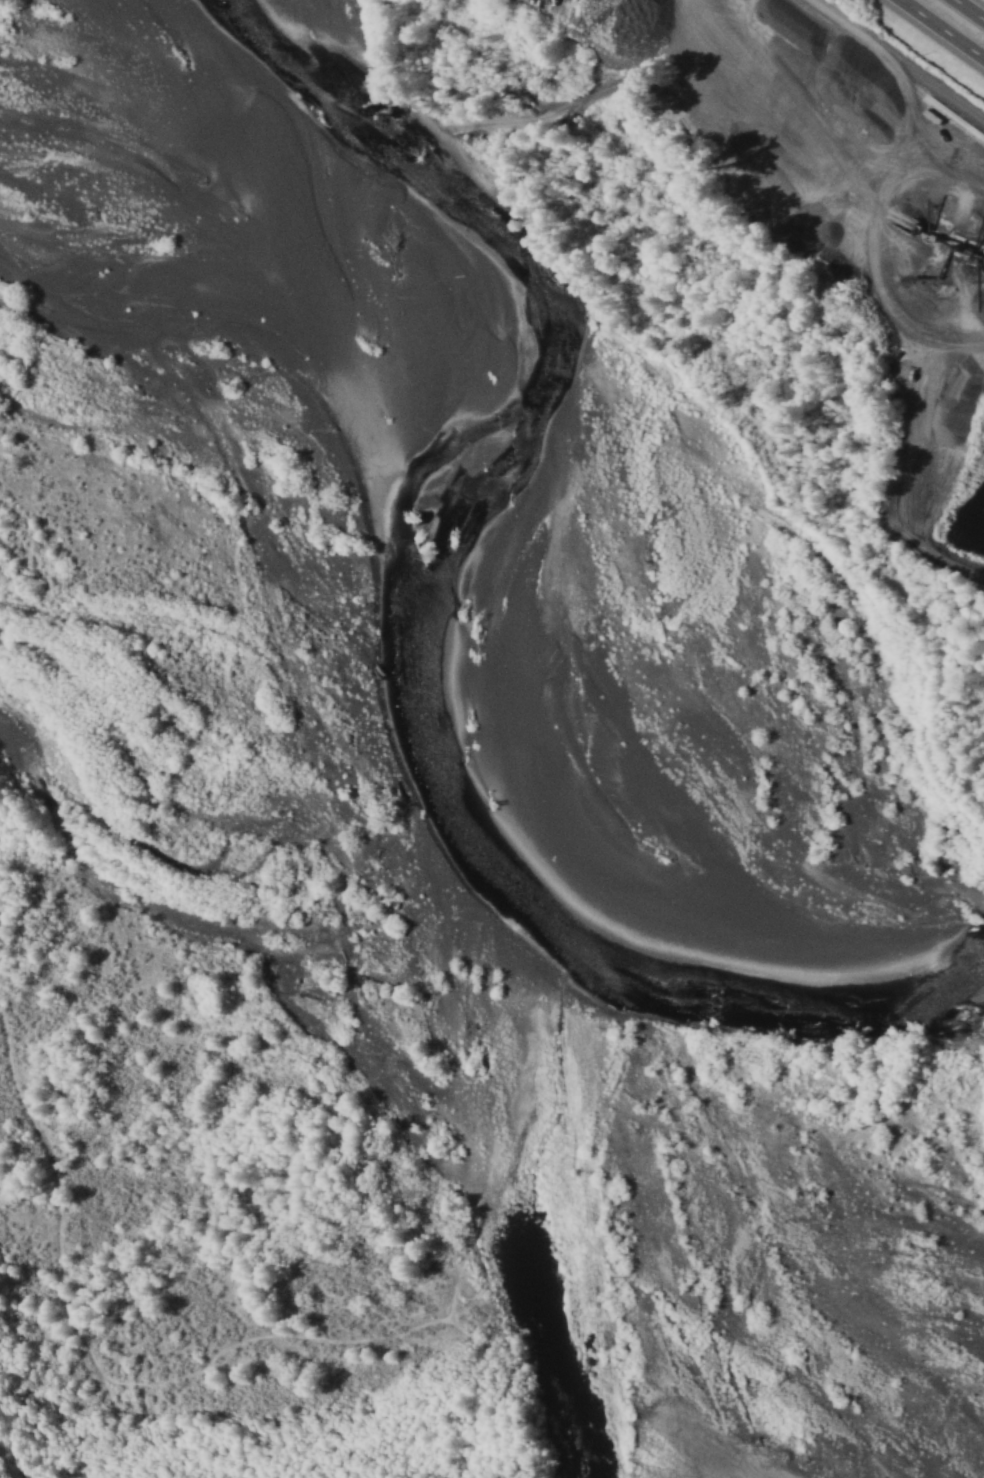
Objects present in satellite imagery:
road: (969, 9)
road: (816, 10)
road: (944, 28)
river: (657, 727)

